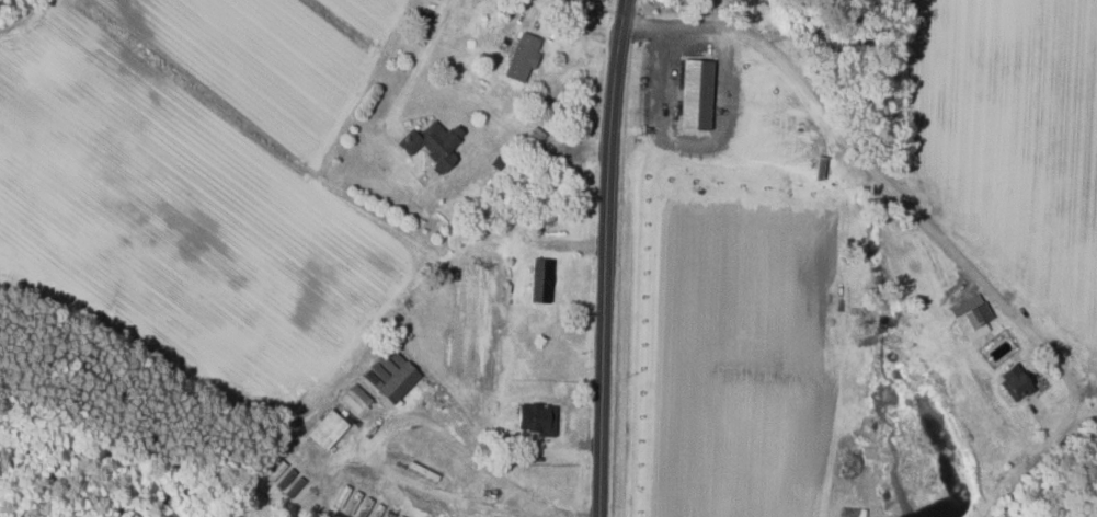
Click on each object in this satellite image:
road: (581, 26)
building: (525, 56)
road: (420, 61)
building: (436, 142)
road: (884, 176)
road: (603, 257)
building: (973, 317)
building: (395, 376)
building: (1017, 381)
building: (539, 418)
building: (329, 429)
road: (382, 438)
building: (290, 483)
road: (544, 509)

